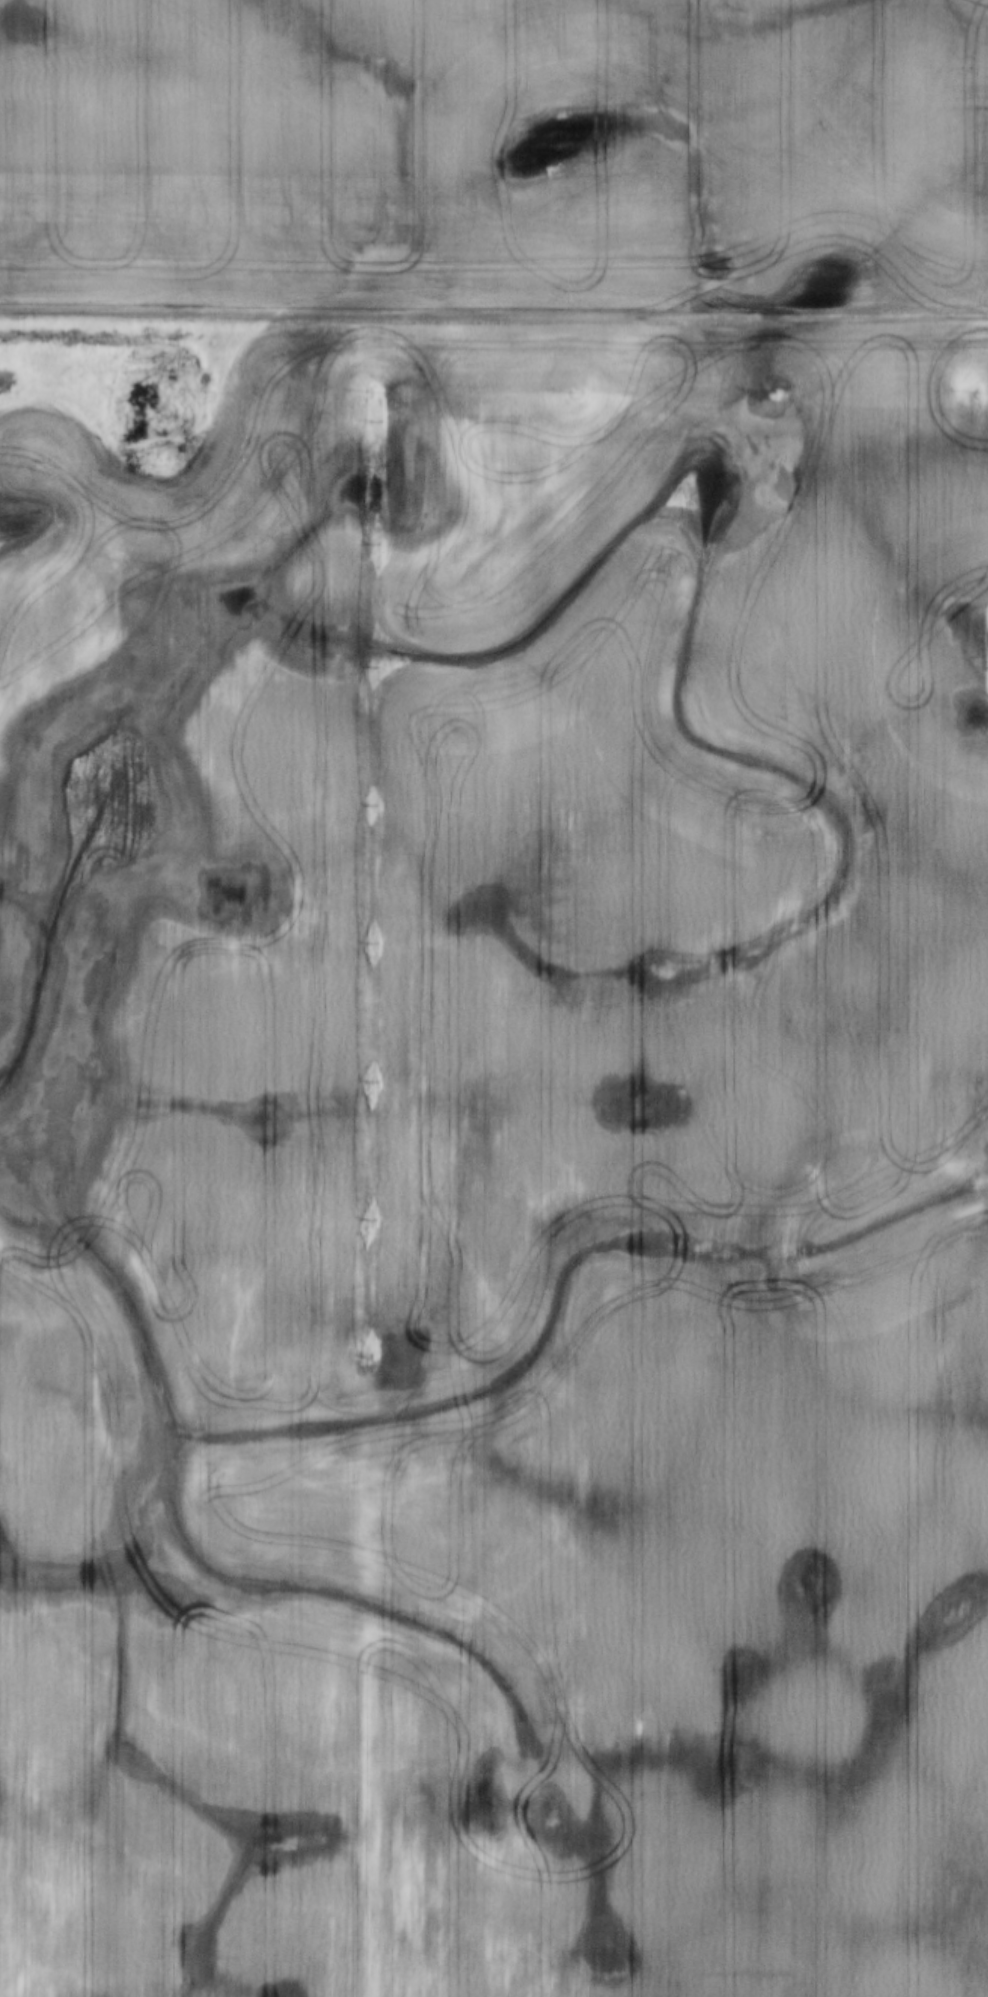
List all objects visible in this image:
road: (493, 314)

